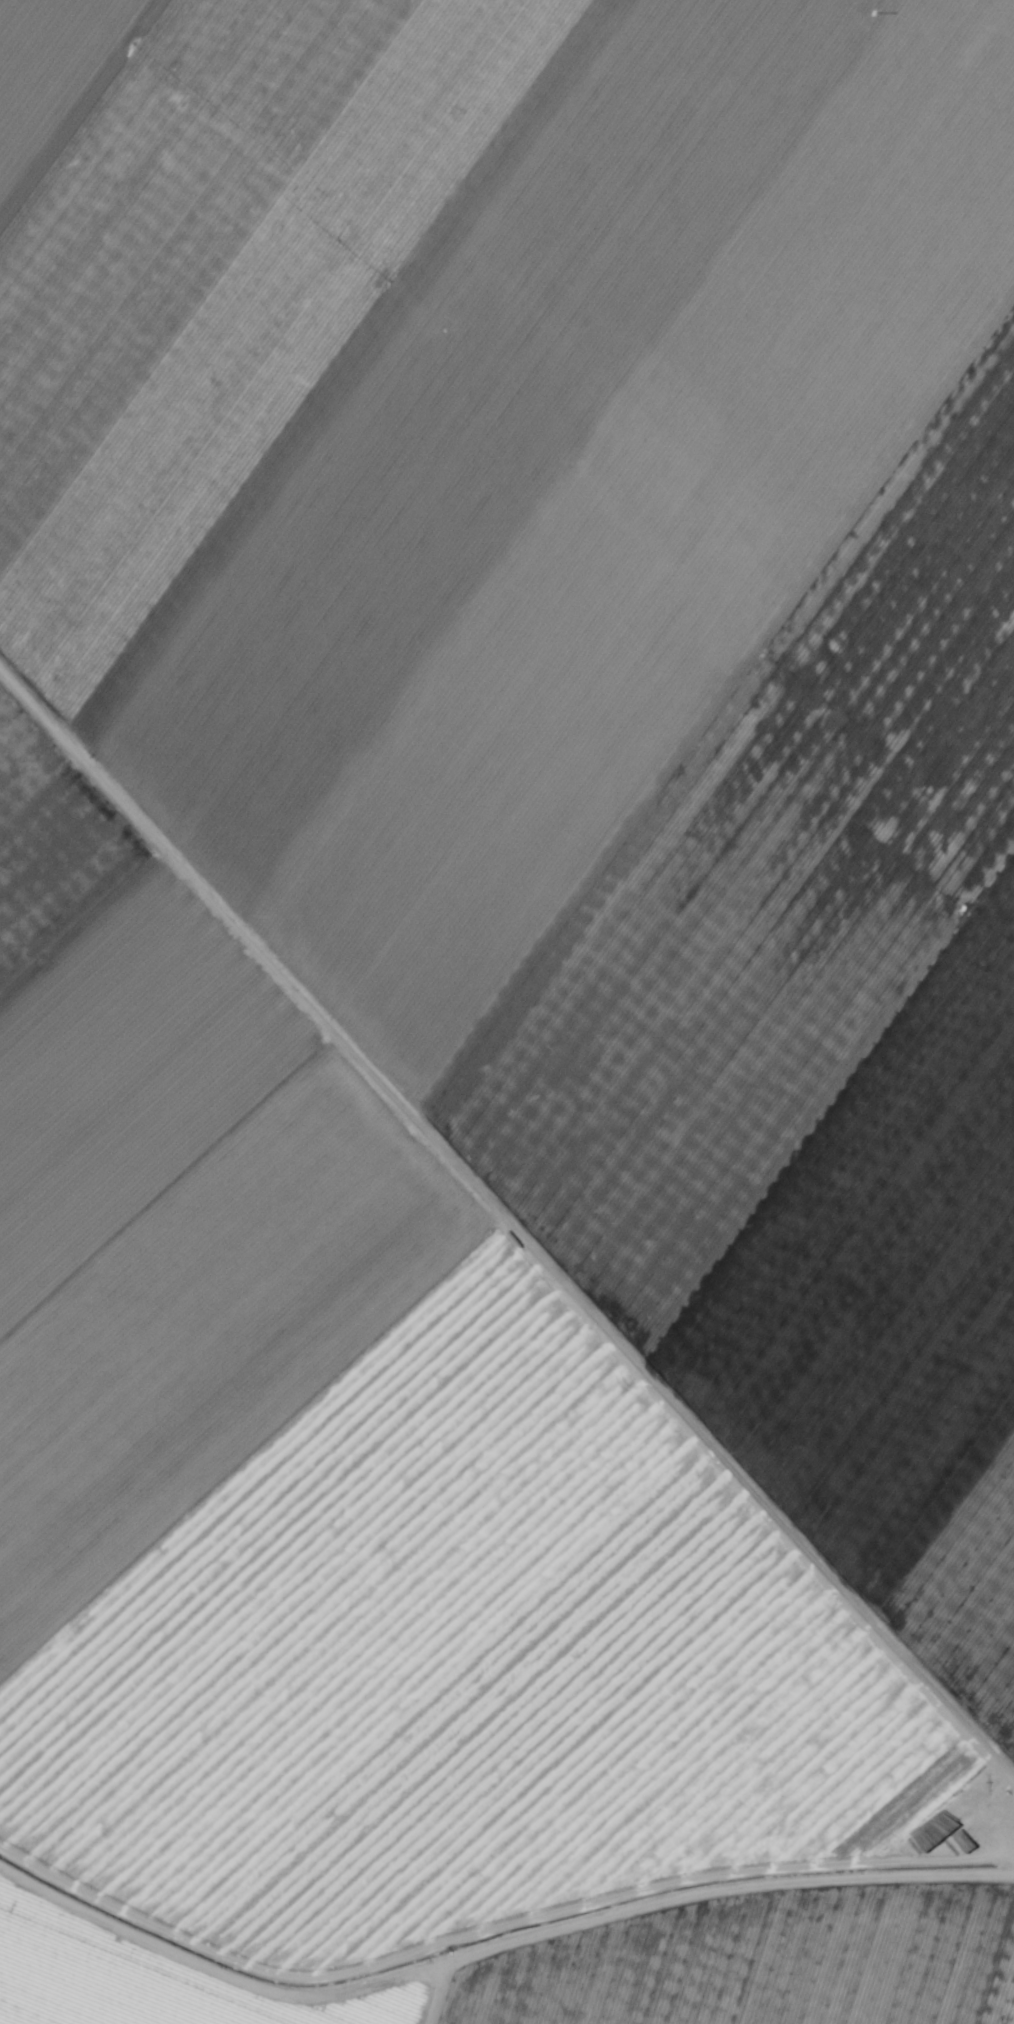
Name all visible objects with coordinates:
road: (507, 1202)
building: (970, 1838)

